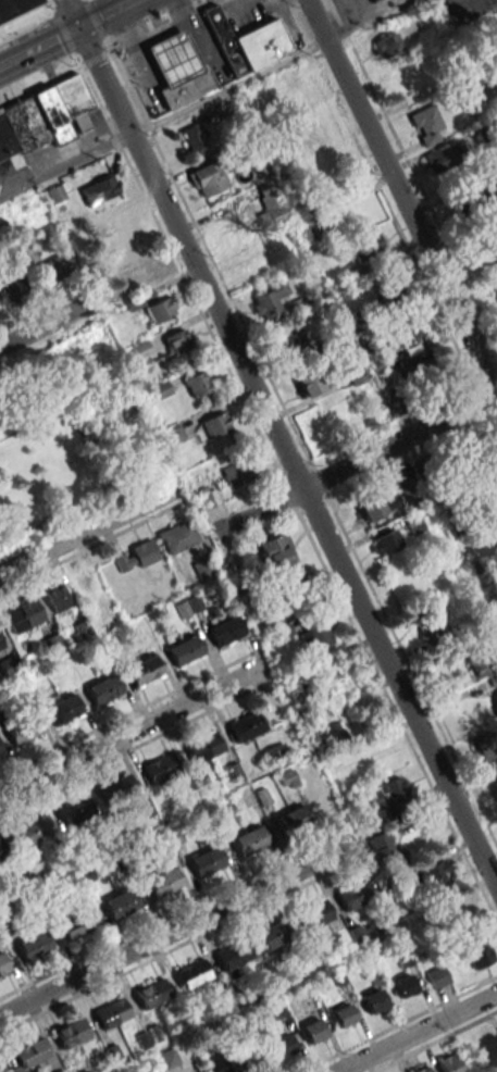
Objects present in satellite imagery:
building: (372, 1)
building: (15, 7)
road: (74, 13)
road: (107, 13)
traffic signals: (80, 26)
road: (64, 30)
building: (245, 42)
road: (40, 46)
building: (388, 46)
building: (175, 58)
building: (405, 85)
building: (187, 88)
building: (286, 90)
building: (44, 117)
road: (162, 120)
building: (426, 122)
building: (192, 139)
building: (443, 158)
building: (316, 174)
building: (207, 179)
building: (99, 189)
road: (401, 198)
building: (476, 199)
building: (266, 205)
building: (119, 222)
building: (316, 225)
building: (368, 247)
building: (486, 251)
building: (55, 266)
building: (494, 285)
building: (12, 289)
building: (394, 289)
building: (269, 300)
building: (133, 302)
building: (161, 309)
road: (44, 324)
building: (403, 328)
building: (178, 340)
building: (289, 345)
building: (376, 363)
building: (417, 369)
building: (356, 374)
building: (310, 382)
building: (198, 383)
building: (0, 398)
road: (58, 409)
building: (216, 424)
building: (173, 434)
road: (286, 459)
road: (353, 463)
building: (239, 472)
building: (488, 496)
building: (204, 497)
building: (377, 504)
building: (496, 527)
road: (88, 529)
building: (177, 536)
building: (387, 541)
building: (276, 551)
building: (135, 556)
building: (204, 568)
building: (84, 585)
building: (55, 597)
building: (22, 613)
building: (225, 628)
building: (83, 630)
building: (427, 630)
building: (52, 643)
building: (0, 644)
building: (185, 650)
building: (482, 666)
building: (145, 670)
building: (295, 688)
building: (104, 689)
building: (495, 701)
building: (63, 709)
building: (247, 725)
building: (23, 728)
building: (335, 736)
road: (129, 739)
building: (486, 746)
building: (203, 747)
building: (0, 751)
building: (274, 755)
building: (161, 768)
building: (287, 778)
building: (495, 784)
building: (117, 788)
building: (389, 799)
building: (74, 810)
building: (291, 817)
building: (30, 832)
building: (250, 842)
building: (2, 849)
building: (385, 852)
building: (207, 861)
building: (438, 882)
building: (163, 883)
building: (355, 894)
building: (120, 903)
building: (457, 910)
building: (314, 913)
building: (76, 925)
road: (175, 928)
building: (273, 935)
building: (34, 945)
building: (477, 953)
building: (2, 963)
building: (192, 974)
building: (437, 976)
building: (402, 986)
building: (152, 993)
building: (374, 1000)
building: (111, 1012)
building: (344, 1014)
building: (313, 1031)
building: (72, 1032)
road: (415, 1032)
building: (283, 1045)
building: (30, 1057)
building: (169, 1058)
building: (252, 1061)
building: (448, 1063)
building: (216, 1064)
building: (423, 1069)

